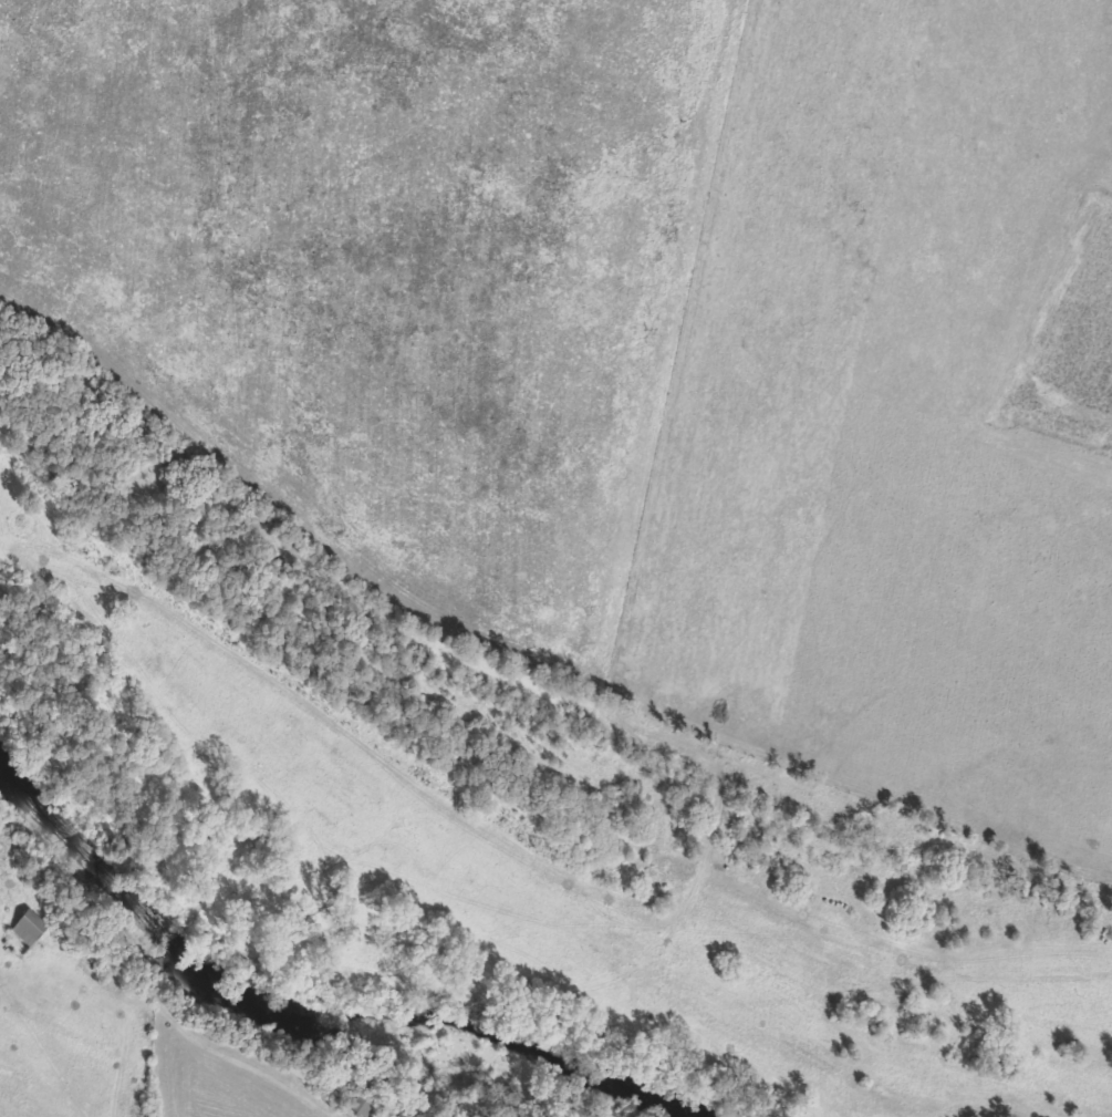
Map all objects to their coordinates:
building: (32, 924)
building: (361, 1104)

